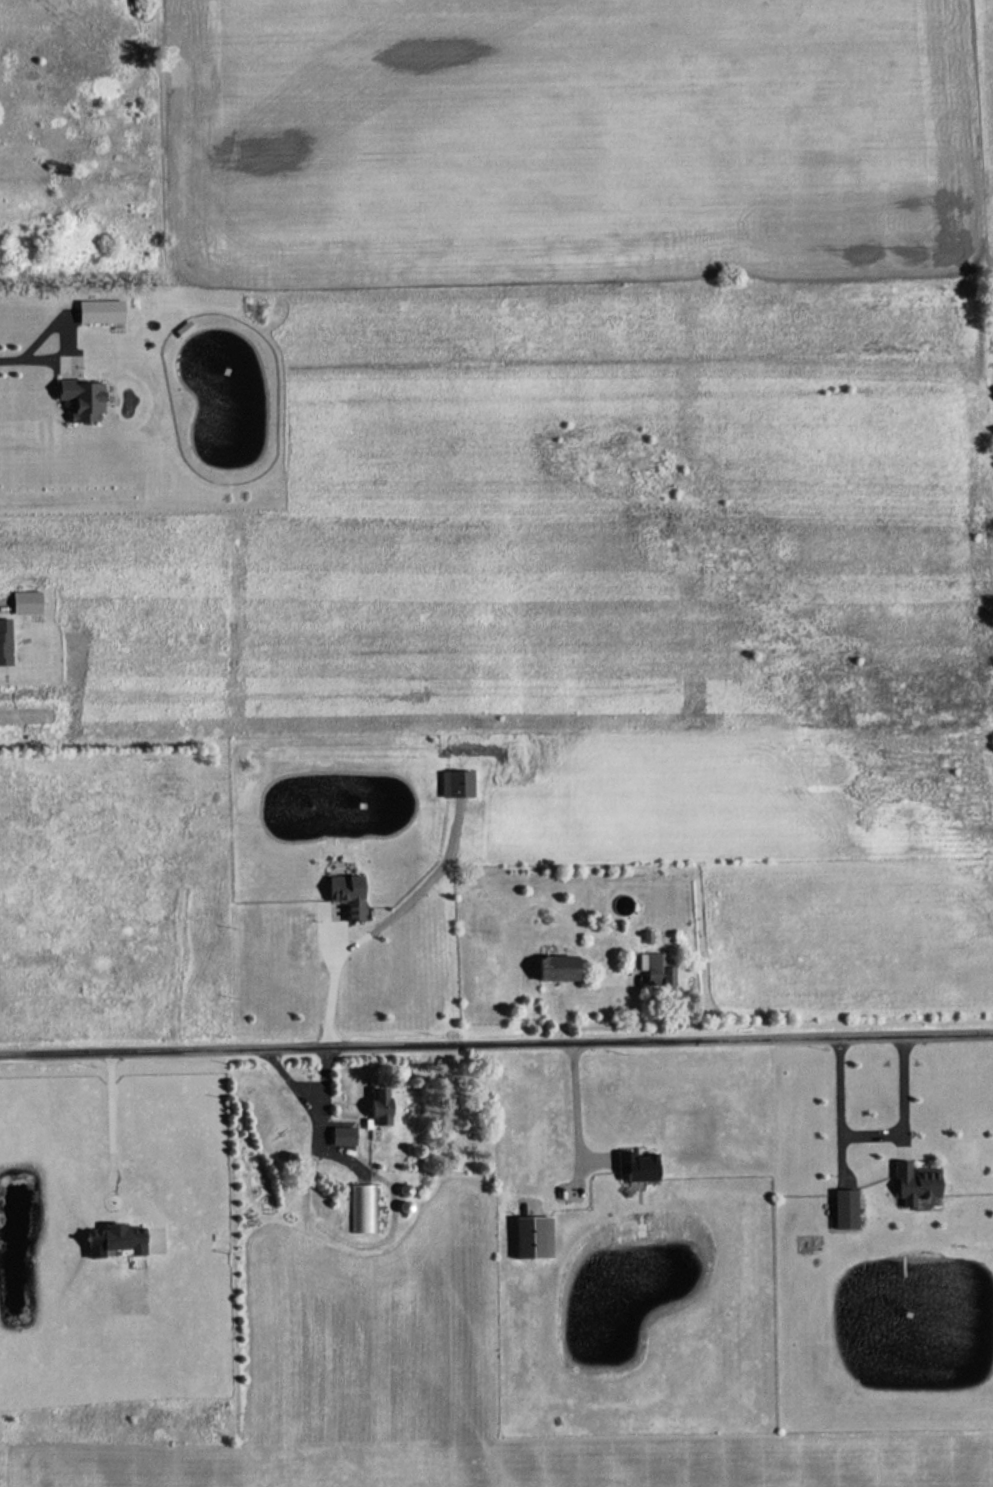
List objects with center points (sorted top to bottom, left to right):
crop: (987, 109)
crop: (576, 139)
building: (100, 311)
road: (64, 328)
road: (8, 360)
building: (82, 399)
building: (26, 602)
building: (5, 642)
building: (456, 783)
building: (347, 895)
building: (645, 937)
building: (656, 968)
building: (559, 969)
road: (334, 983)
road: (496, 1030)
road: (562, 1090)
building: (379, 1108)
road: (874, 1131)
building: (343, 1136)
road: (115, 1153)
building: (637, 1167)
building: (915, 1183)
building: (360, 1209)
building: (845, 1210)
building: (534, 1238)
building: (115, 1241)

